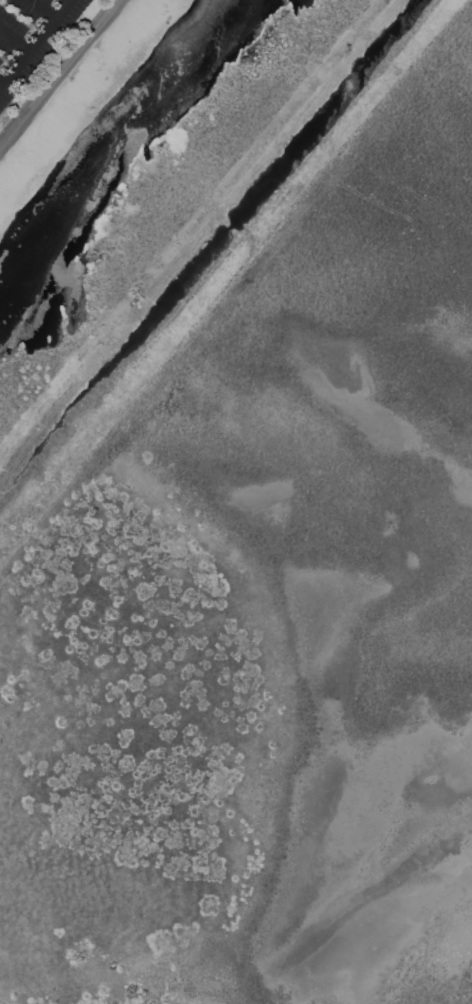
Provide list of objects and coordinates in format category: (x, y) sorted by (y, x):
road: (45, 8)
road: (15, 37)
road: (34, 42)
road: (1, 80)
airport: (239, 509)

